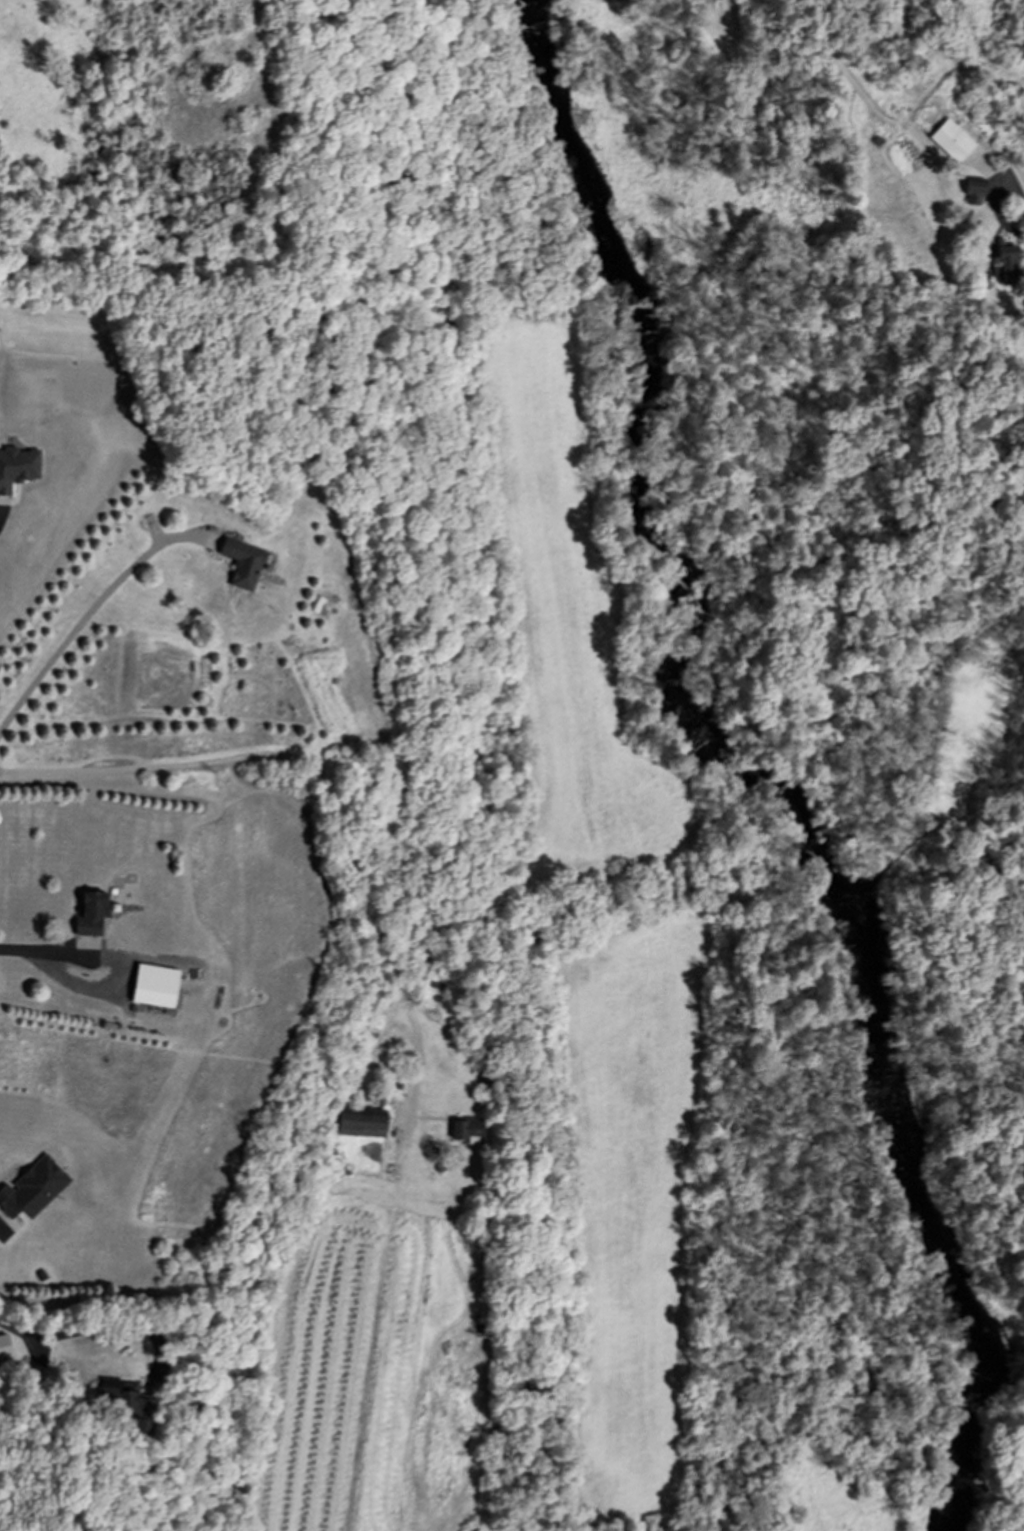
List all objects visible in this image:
building: (952, 140)
building: (974, 190)
road: (991, 201)
building: (1006, 265)
road: (574, 291)
building: (18, 467)
building: (243, 563)
road: (683, 588)
road: (87, 614)
road: (869, 681)
river: (739, 763)
road: (329, 793)
building: (92, 913)
road: (29, 950)
building: (155, 986)
building: (376, 1003)
building: (361, 1122)
building: (467, 1128)
building: (33, 1189)
building: (5, 1347)
building: (131, 1405)
road: (1018, 1491)

